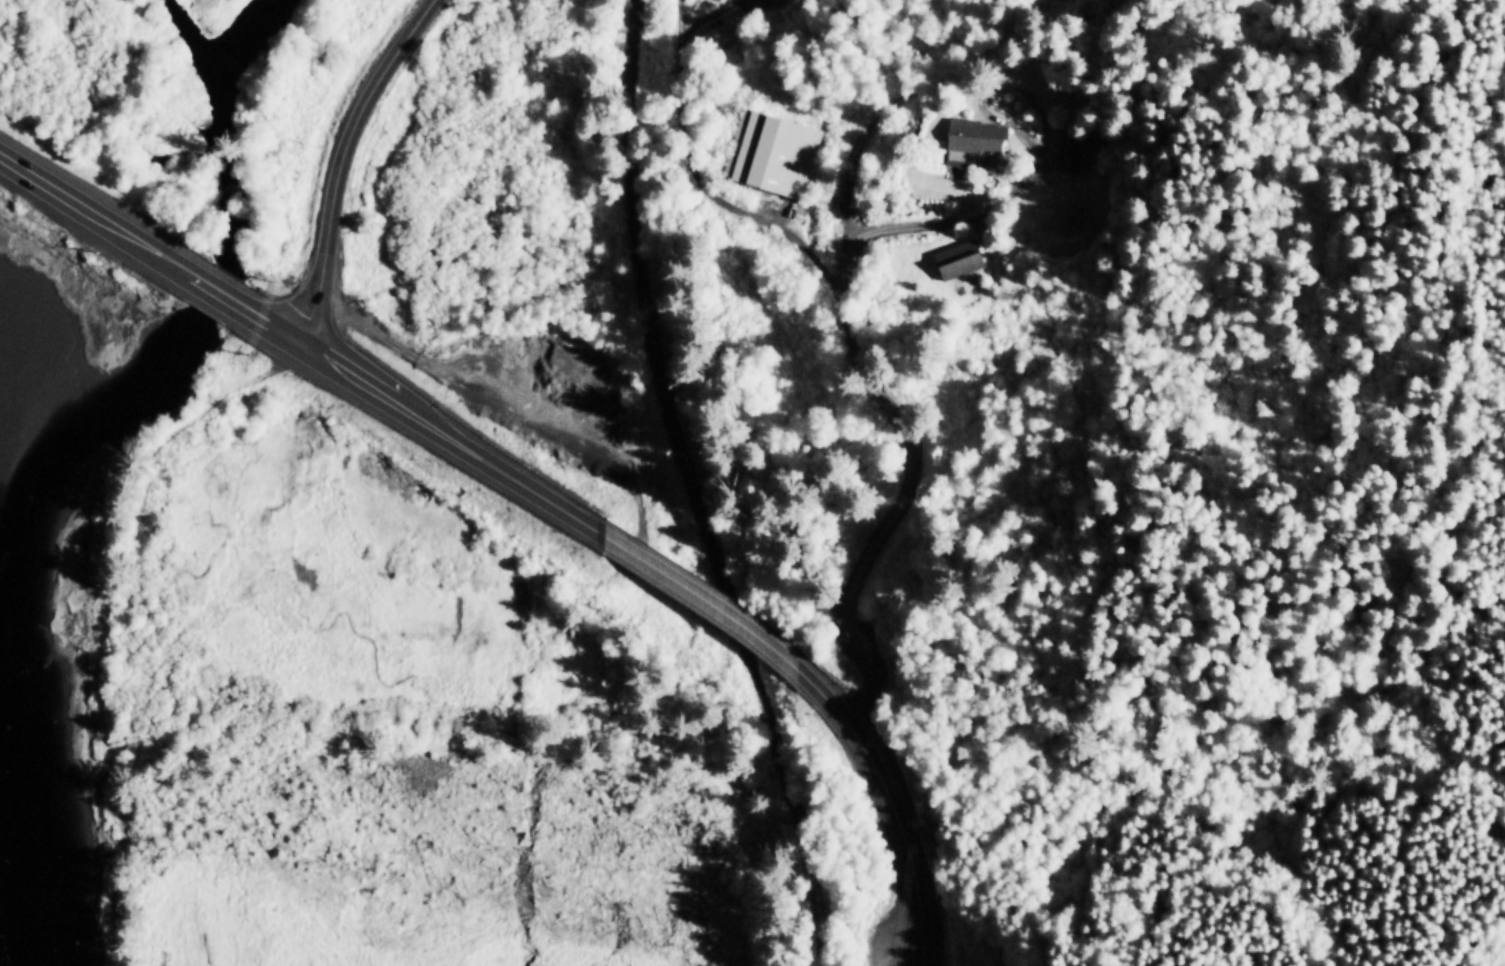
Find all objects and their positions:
road: (1028, 10)
building: (970, 138)
building: (770, 150)
road: (341, 161)
road: (691, 163)
road: (1032, 164)
road: (1348, 184)
road: (88, 210)
building: (956, 257)
road: (215, 292)
road: (863, 343)
road: (430, 424)
railway: (684, 489)
road: (705, 597)
road: (892, 803)

